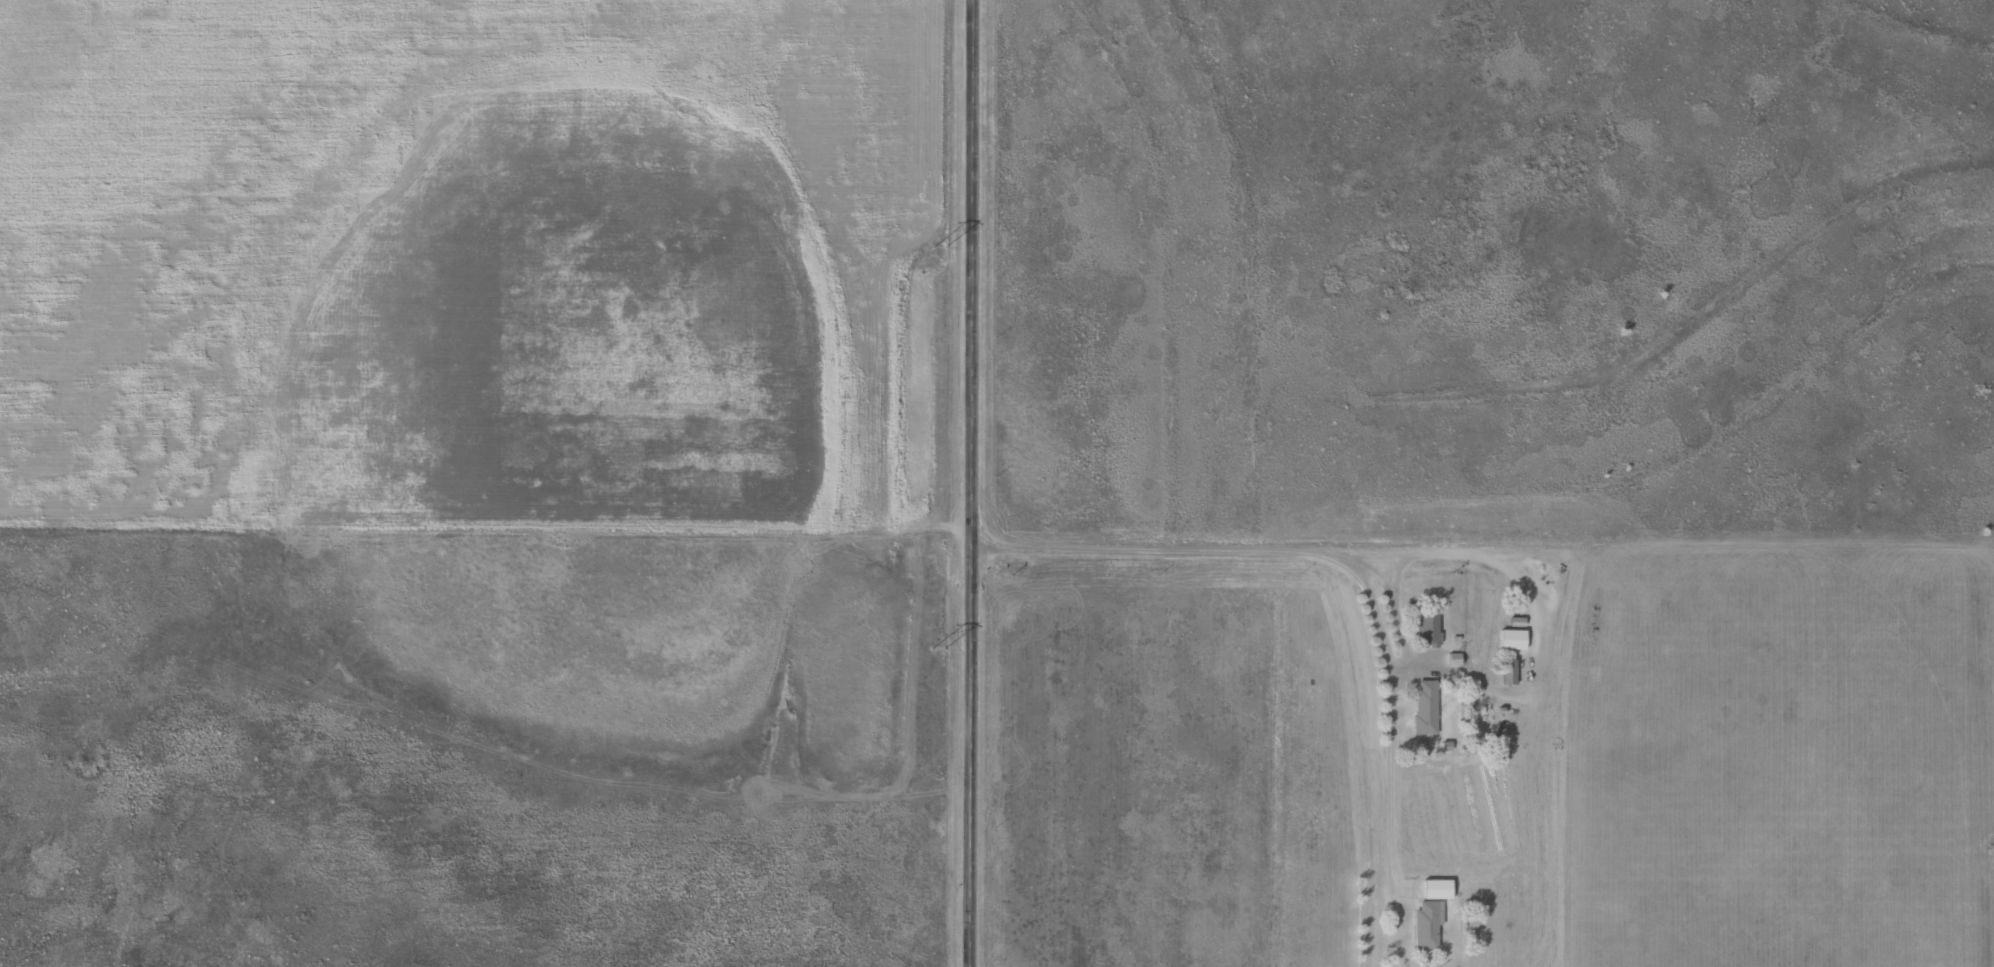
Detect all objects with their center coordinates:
power tower: (935, 248)
road: (968, 483)
road: (1237, 550)
road: (1480, 554)
building: (1427, 631)
power tower: (934, 649)
building: (1507, 672)
building: (1425, 708)
building: (1429, 915)

